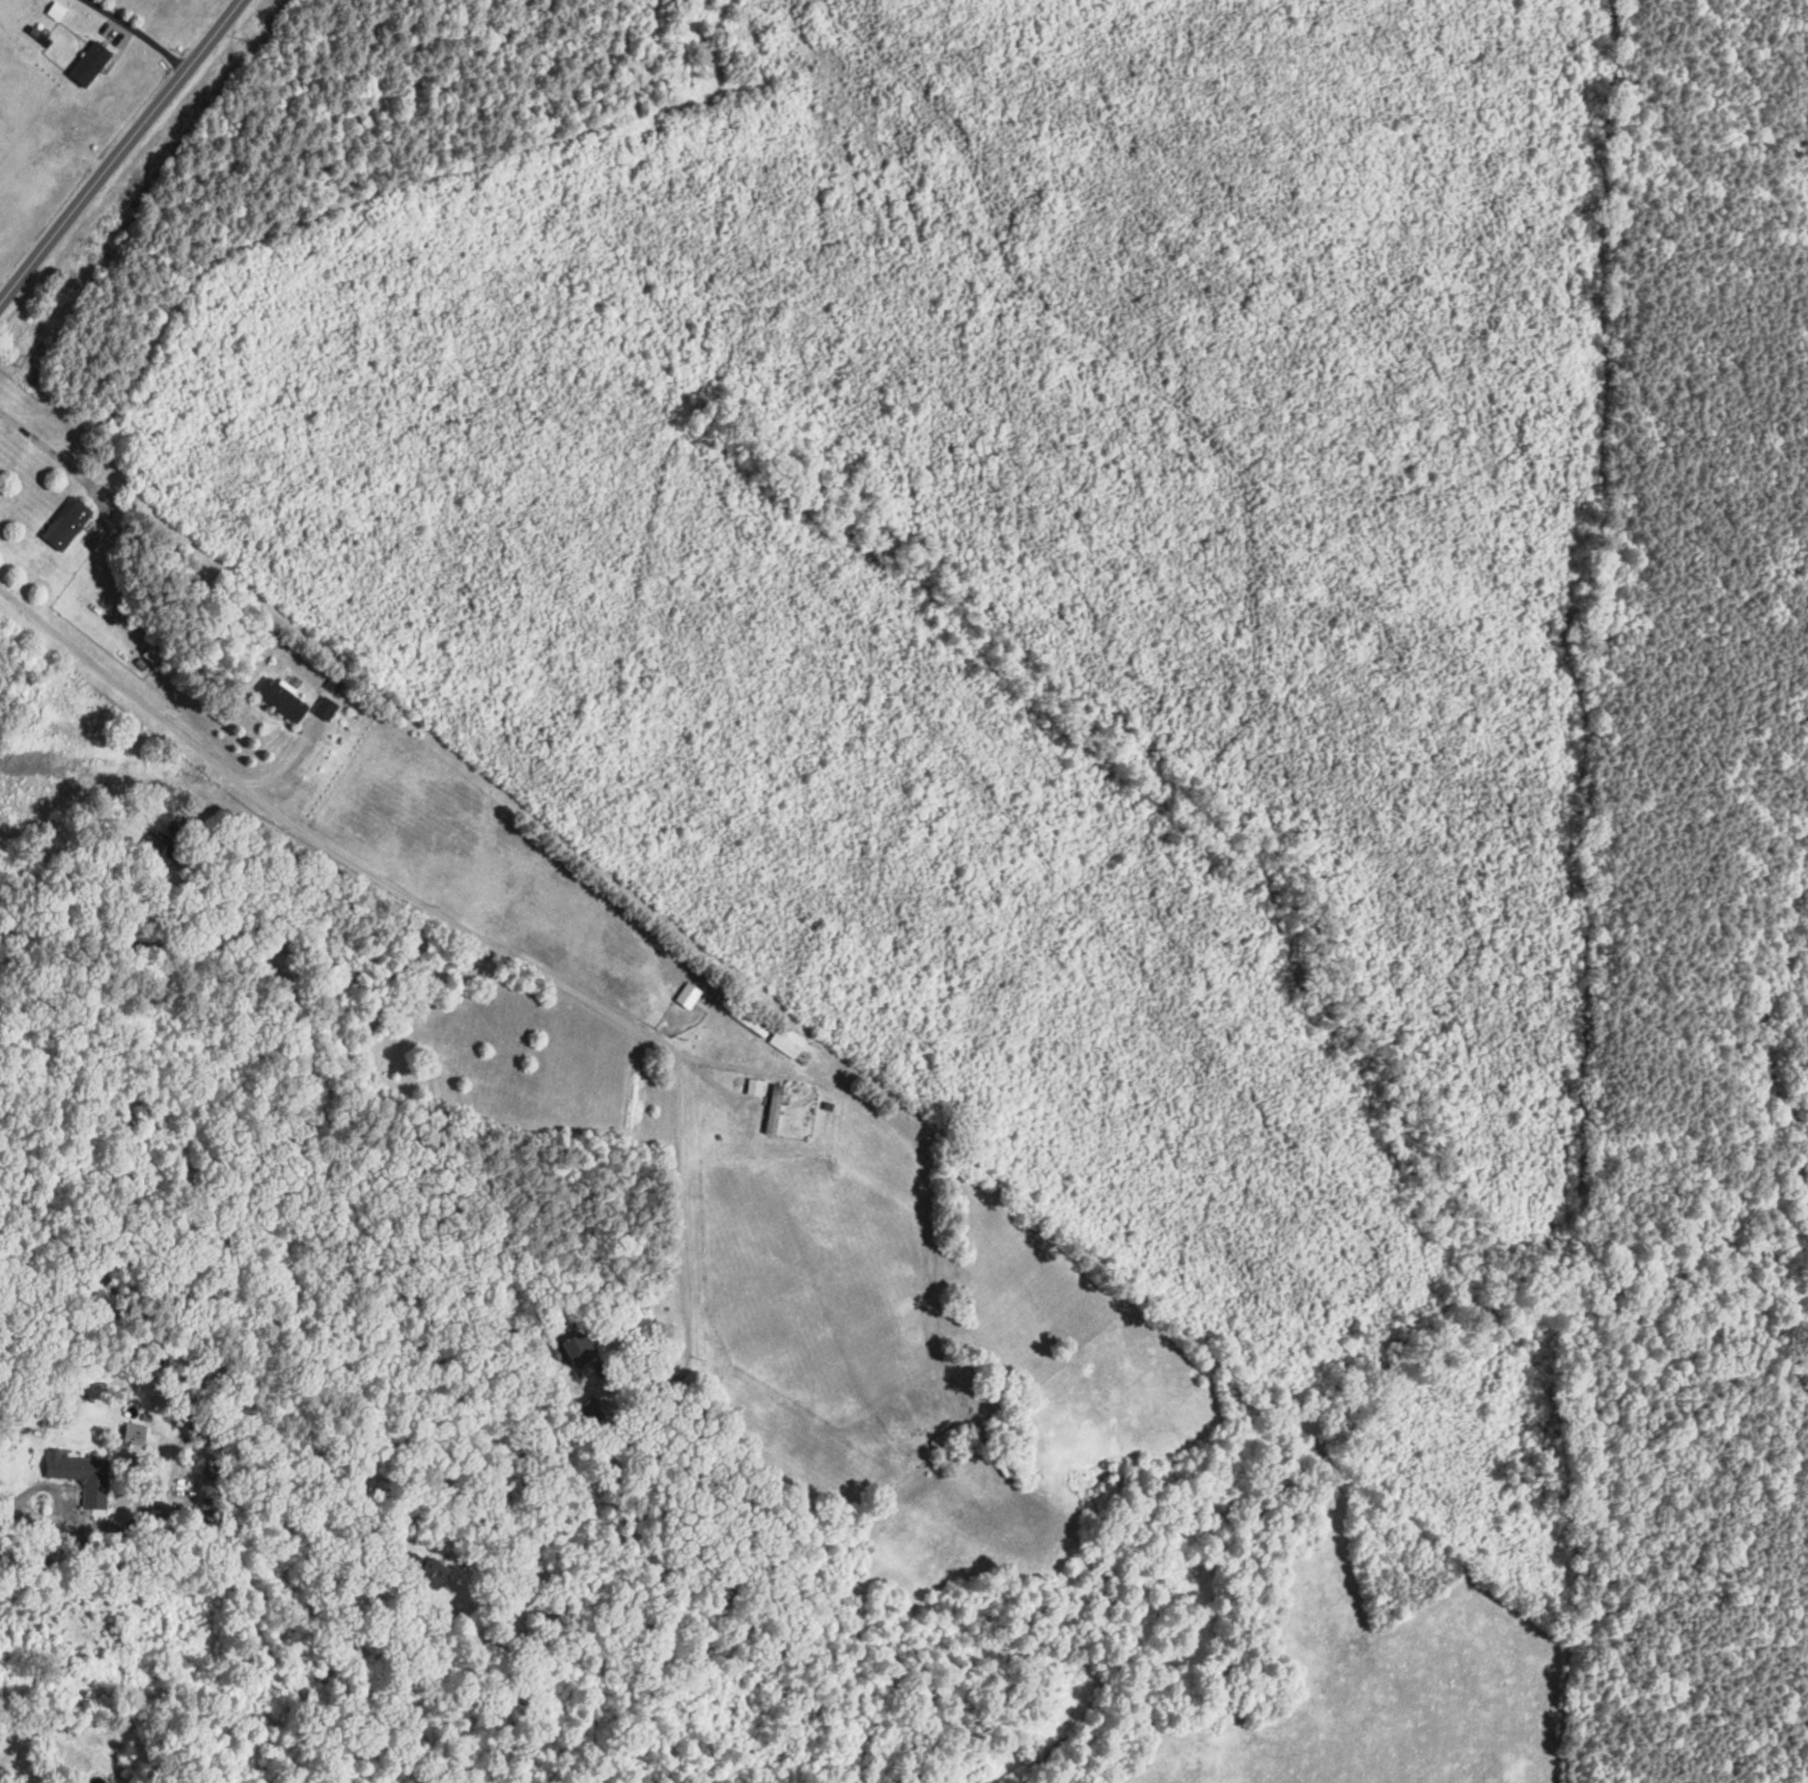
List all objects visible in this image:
road: (135, 33)
building: (91, 64)
road: (118, 153)
road: (105, 496)
building: (67, 523)
building: (91, 539)
building: (153, 654)
building: (282, 698)
building: (325, 707)
building: (162, 846)
road: (483, 930)
building: (689, 994)
building: (785, 1042)
building: (756, 1086)
road: (909, 1135)
road: (306, 1139)
building: (579, 1348)
building: (136, 1434)
building: (82, 1477)
building: (434, 1571)

